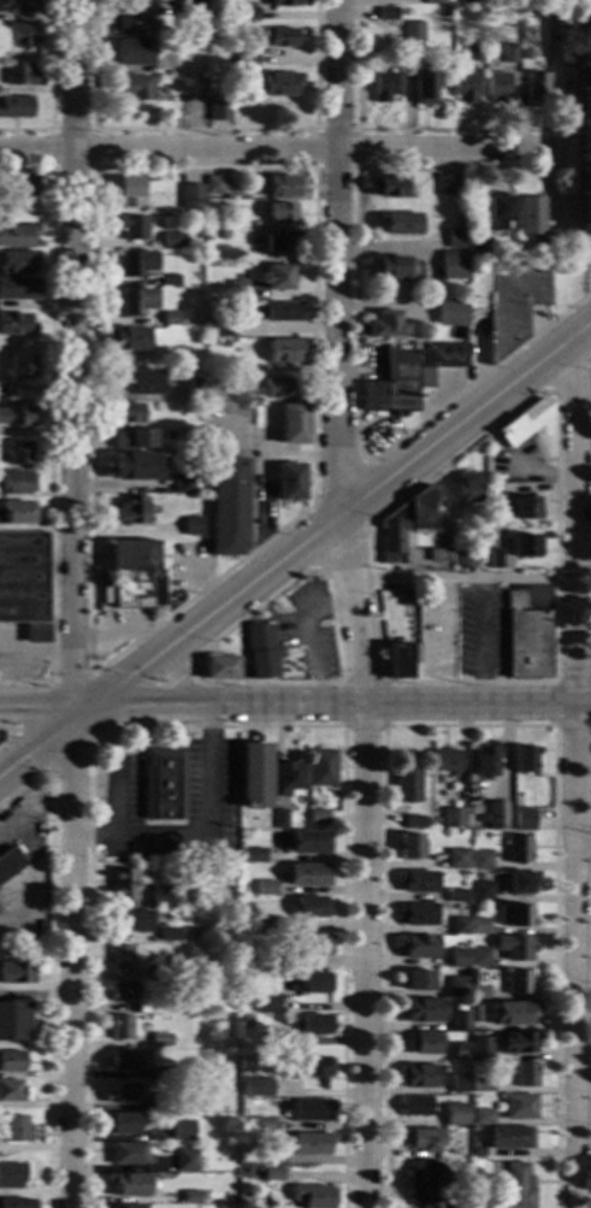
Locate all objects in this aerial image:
building: (380, 0)
building: (468, 1)
building: (282, 2)
building: (437, 2)
building: (18, 5)
building: (190, 8)
building: (246, 13)
building: (386, 13)
building: (126, 22)
building: (412, 31)
building: (17, 34)
building: (279, 36)
building: (131, 52)
building: (472, 52)
building: (507, 54)
building: (524, 55)
building: (202, 58)
building: (244, 60)
building: (19, 75)
building: (199, 82)
building: (278, 84)
building: (382, 84)
building: (421, 86)
building: (130, 87)
building: (462, 87)
building: (534, 87)
building: (496, 88)
road: (52, 90)
building: (16, 107)
building: (218, 112)
building: (196, 113)
building: (585, 118)
road: (202, 130)
road: (395, 130)
road: (565, 130)
road: (254, 151)
road: (314, 167)
road: (91, 169)
building: (444, 184)
building: (213, 185)
building: (18, 187)
building: (280, 187)
building: (388, 187)
building: (129, 191)
building: (190, 198)
building: (17, 211)
building: (497, 211)
building: (280, 213)
building: (530, 216)
building: (398, 223)
building: (132, 226)
building: (235, 231)
building: (17, 236)
building: (455, 238)
building: (172, 240)
building: (282, 242)
building: (542, 253)
building: (473, 259)
building: (17, 261)
building: (134, 264)
building: (450, 265)
building: (394, 269)
building: (274, 278)
building: (170, 281)
building: (236, 288)
building: (18, 289)
building: (135, 301)
building: (513, 306)
building: (282, 312)
building: (448, 314)
building: (171, 318)
building: (16, 324)
building: (386, 325)
road: (579, 326)
road: (72, 328)
building: (223, 328)
building: (128, 338)
building: (224, 343)
building: (284, 350)
building: (183, 353)
road: (354, 358)
building: (22, 366)
road: (568, 372)
building: (409, 376)
building: (194, 382)
building: (135, 383)
building: (213, 385)
building: (1, 388)
building: (276, 388)
building: (126, 413)
building: (16, 414)
building: (524, 422)
building: (292, 424)
road: (51, 425)
road: (556, 426)
building: (134, 440)
building: (18, 452)
building: (134, 466)
road: (337, 476)
road: (383, 481)
building: (289, 482)
building: (14, 483)
building: (181, 483)
building: (467, 487)
building: (227, 506)
building: (497, 506)
building: (524, 508)
building: (131, 511)
building: (14, 512)
building: (406, 524)
building: (191, 525)
building: (462, 538)
building: (525, 546)
road: (338, 550)
building: (131, 555)
building: (439, 555)
building: (465, 558)
building: (496, 559)
road: (584, 562)
road: (223, 573)
road: (463, 578)
building: (24, 583)
building: (135, 594)
building: (409, 597)
building: (515, 600)
road: (355, 603)
road: (437, 624)
road: (333, 627)
road: (124, 631)
road: (308, 635)
road: (240, 636)
road: (481, 640)
road: (276, 642)
building: (527, 644)
building: (260, 650)
building: (414, 653)
road: (35, 656)
building: (398, 660)
building: (219, 668)
traffic signals: (71, 671)
traffic signals: (131, 674)
road: (171, 674)
road: (126, 677)
road: (176, 677)
road: (52, 682)
road: (72, 682)
road: (400, 703)
road: (203, 705)
road: (555, 705)
traffic signals: (22, 706)
road: (135, 706)
traffic signals: (144, 706)
road: (36, 707)
road: (220, 727)
road: (360, 727)
road: (469, 727)
road: (12, 733)
road: (37, 742)
traffic signals: (24, 755)
building: (445, 759)
building: (526, 759)
building: (486, 760)
building: (321, 767)
traffic signals: (71, 768)
road: (578, 771)
building: (254, 776)
building: (291, 777)
building: (164, 783)
building: (408, 785)
building: (477, 801)
building: (319, 817)
building: (497, 817)
building: (280, 818)
building: (454, 818)
building: (525, 820)
building: (415, 823)
road: (206, 835)
building: (309, 842)
road: (585, 844)
building: (410, 847)
building: (519, 849)
building: (252, 856)
building: (457, 859)
building: (481, 860)
building: (8, 864)
building: (309, 874)
building: (418, 882)
building: (522, 882)
building: (122, 884)
building: (266, 888)
building: (481, 891)
building: (457, 895)
building: (159, 897)
building: (312, 907)
building: (418, 914)
building: (515, 915)
building: (131, 921)
building: (266, 925)
building: (462, 926)
building: (480, 926)
building: (169, 935)
building: (181, 937)
building: (312, 944)
building: (416, 947)
building: (515, 948)
road: (71, 957)
building: (120, 957)
building: (460, 957)
building: (480, 957)
road: (51, 960)
building: (270, 964)
building: (161, 971)
building: (16, 973)
building: (248, 977)
building: (419, 980)
building: (311, 982)
building: (520, 983)
building: (459, 986)
building: (123, 991)
building: (479, 994)
building: (266, 1003)
building: (424, 1010)
building: (514, 1014)
building: (477, 1018)
building: (460, 1020)
building: (13, 1021)
building: (247, 1024)
building: (313, 1025)
building: (120, 1026)
building: (160, 1039)
building: (270, 1042)
building: (425, 1043)
building: (520, 1044)
building: (481, 1047)
building: (460, 1051)
building: (11, 1061)
building: (124, 1061)
building: (314, 1067)
building: (164, 1073)
building: (183, 1073)
building: (526, 1074)
building: (419, 1076)
building: (459, 1083)
building: (483, 1085)
building: (256, 1086)
building: (12, 1091)
building: (122, 1094)
building: (164, 1102)
building: (416, 1107)
building: (519, 1107)
building: (311, 1109)
building: (455, 1115)
building: (483, 1116)
building: (120, 1124)
building: (262, 1125)
building: (13, 1130)
building: (182, 1130)
building: (509, 1137)
building: (422, 1139)
building: (311, 1143)
building: (478, 1153)
building: (129, 1154)
building: (267, 1155)
building: (187, 1160)
building: (271, 1174)
building: (11, 1175)
building: (426, 1182)
building: (128, 1185)
building: (518, 1186)
building: (312, 1195)
building: (190, 1197)
building: (14, 1203)
building: (457, 1203)
building: (481, 1203)
building: (128, 1206)

